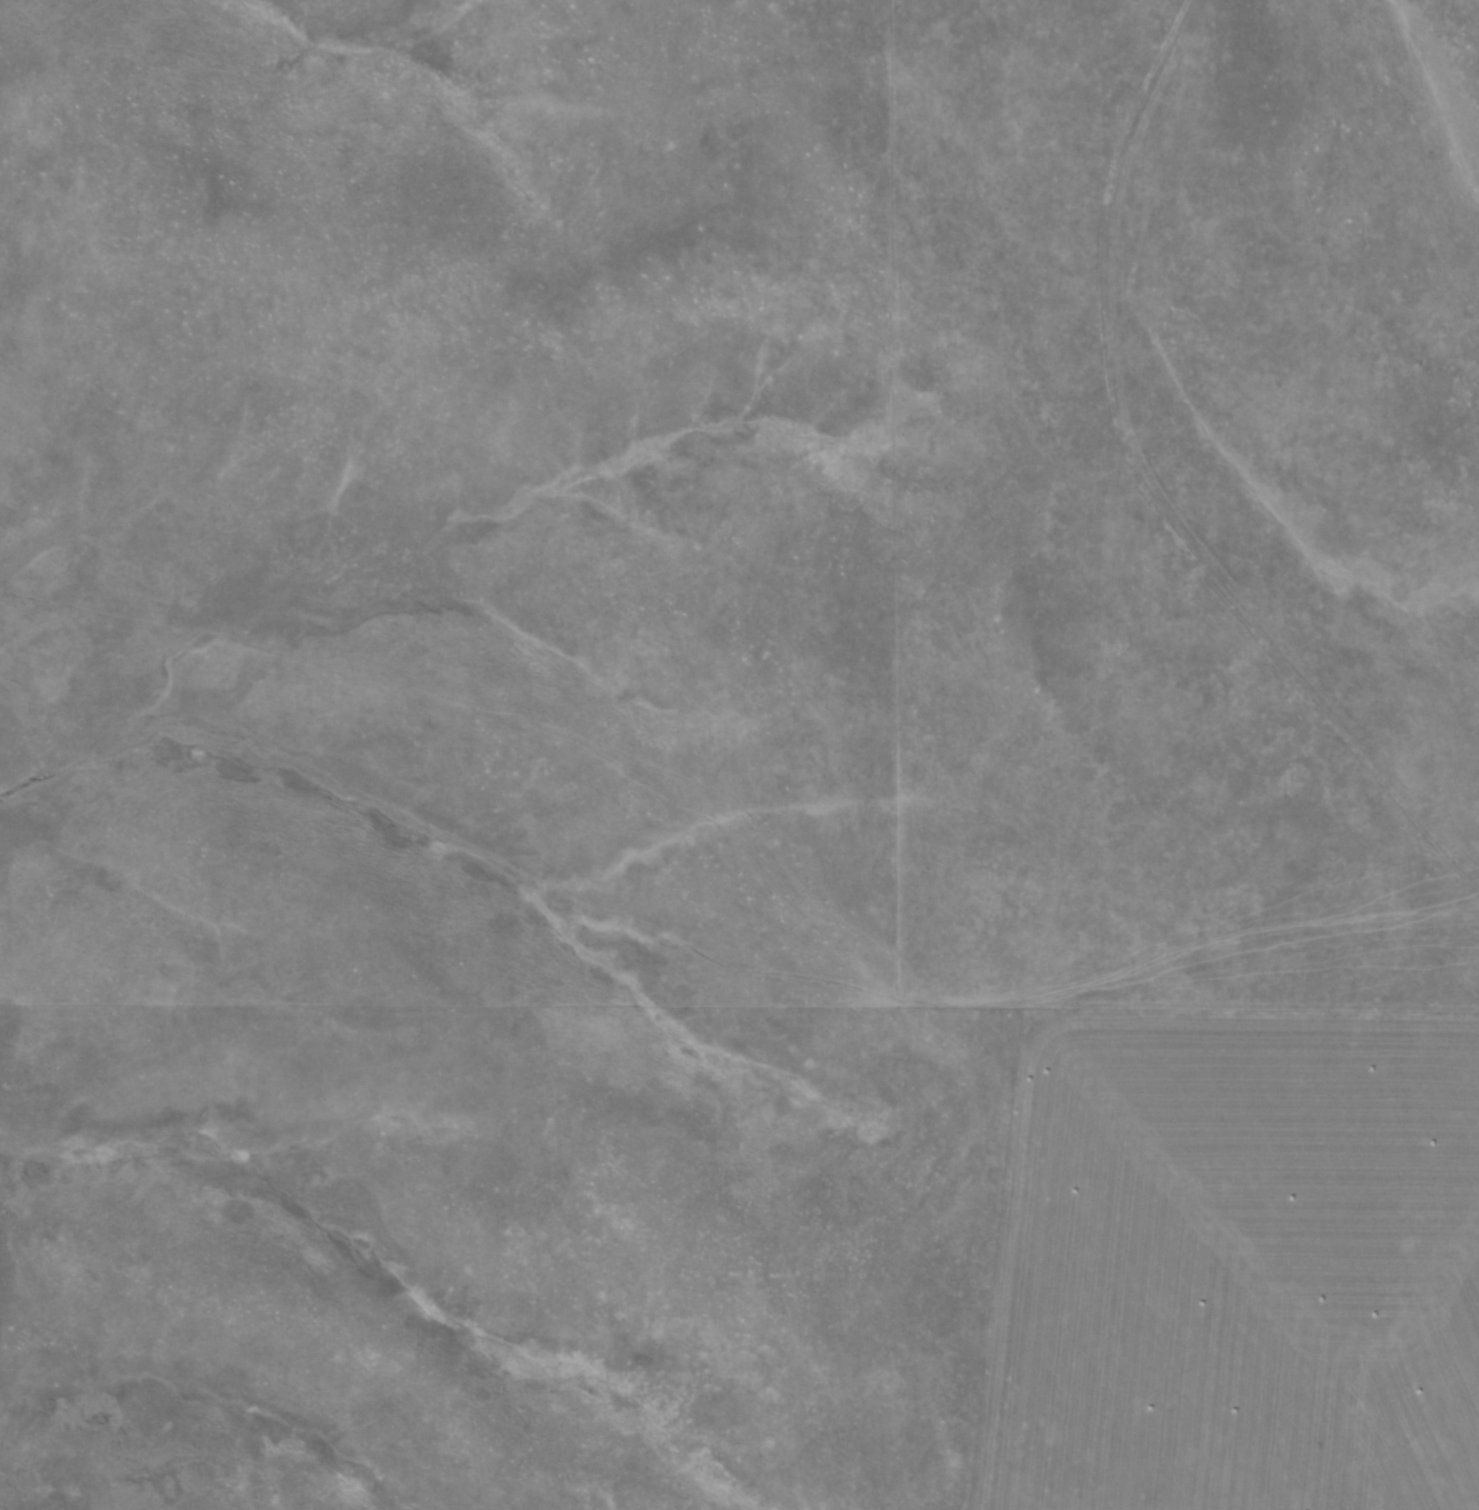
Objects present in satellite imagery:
road: (1147, 487)

